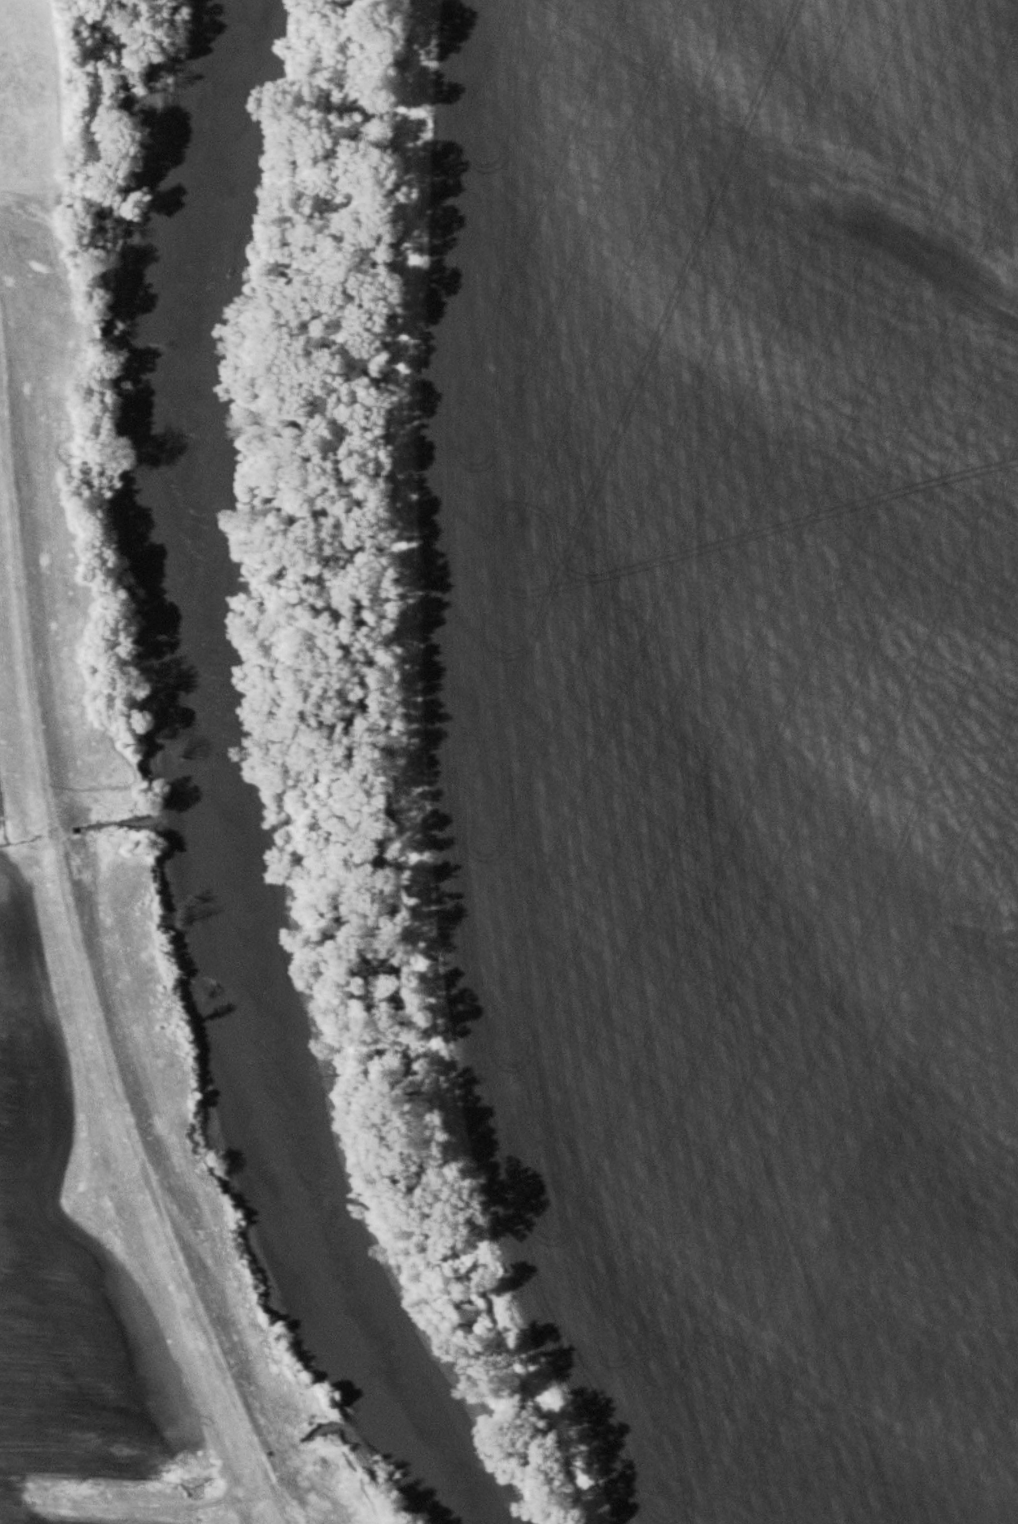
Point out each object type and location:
river: (214, 782)
crop: (65, 1246)
crop: (115, 1492)

